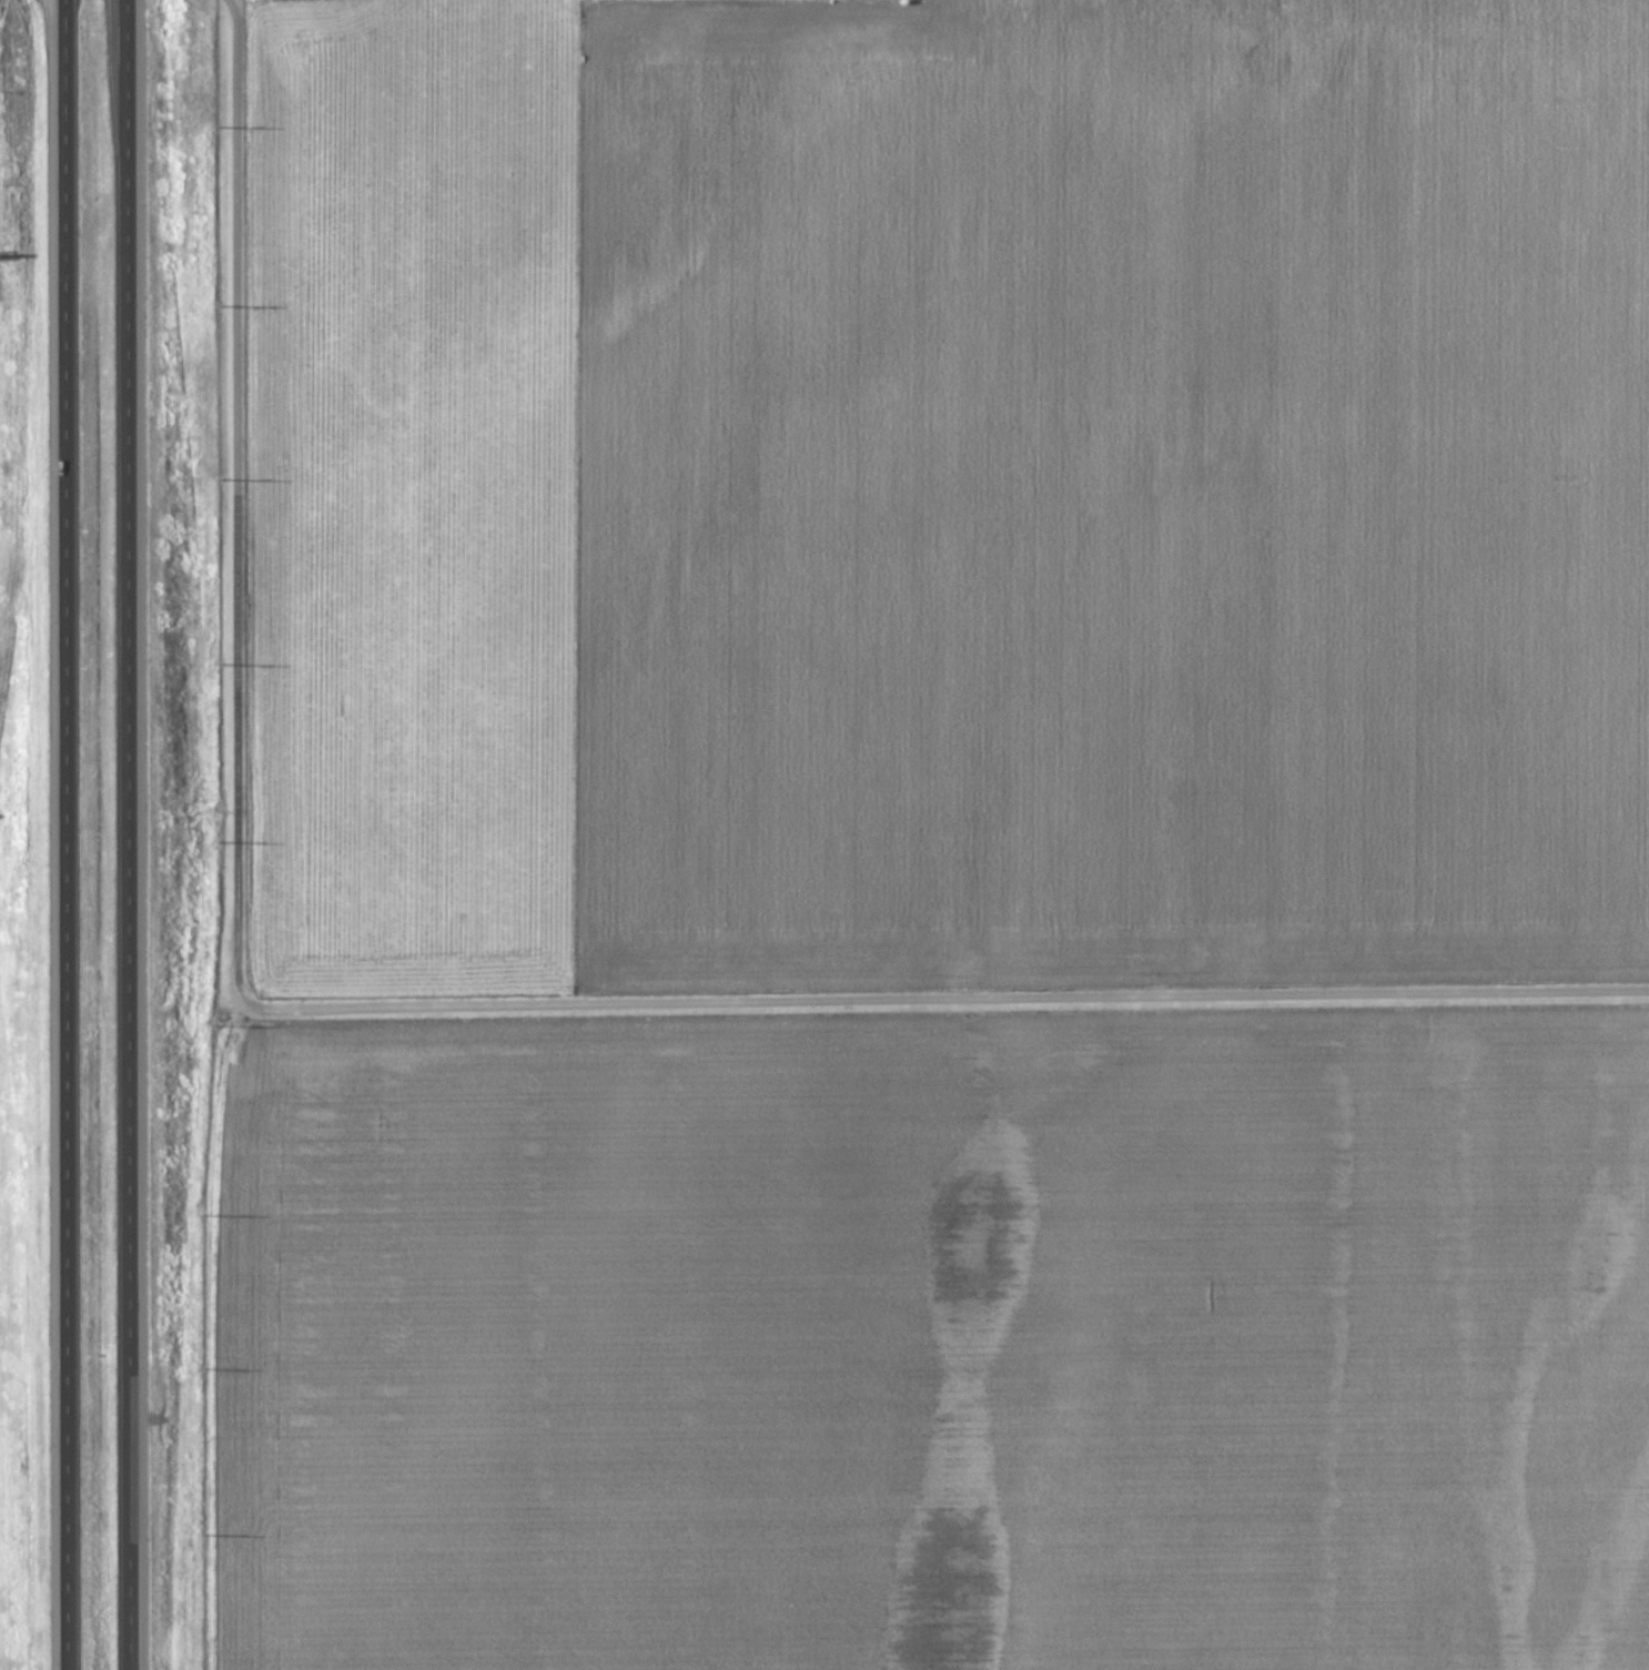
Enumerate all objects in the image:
road: (68, 834)
road: (130, 834)
road: (445, 1008)

